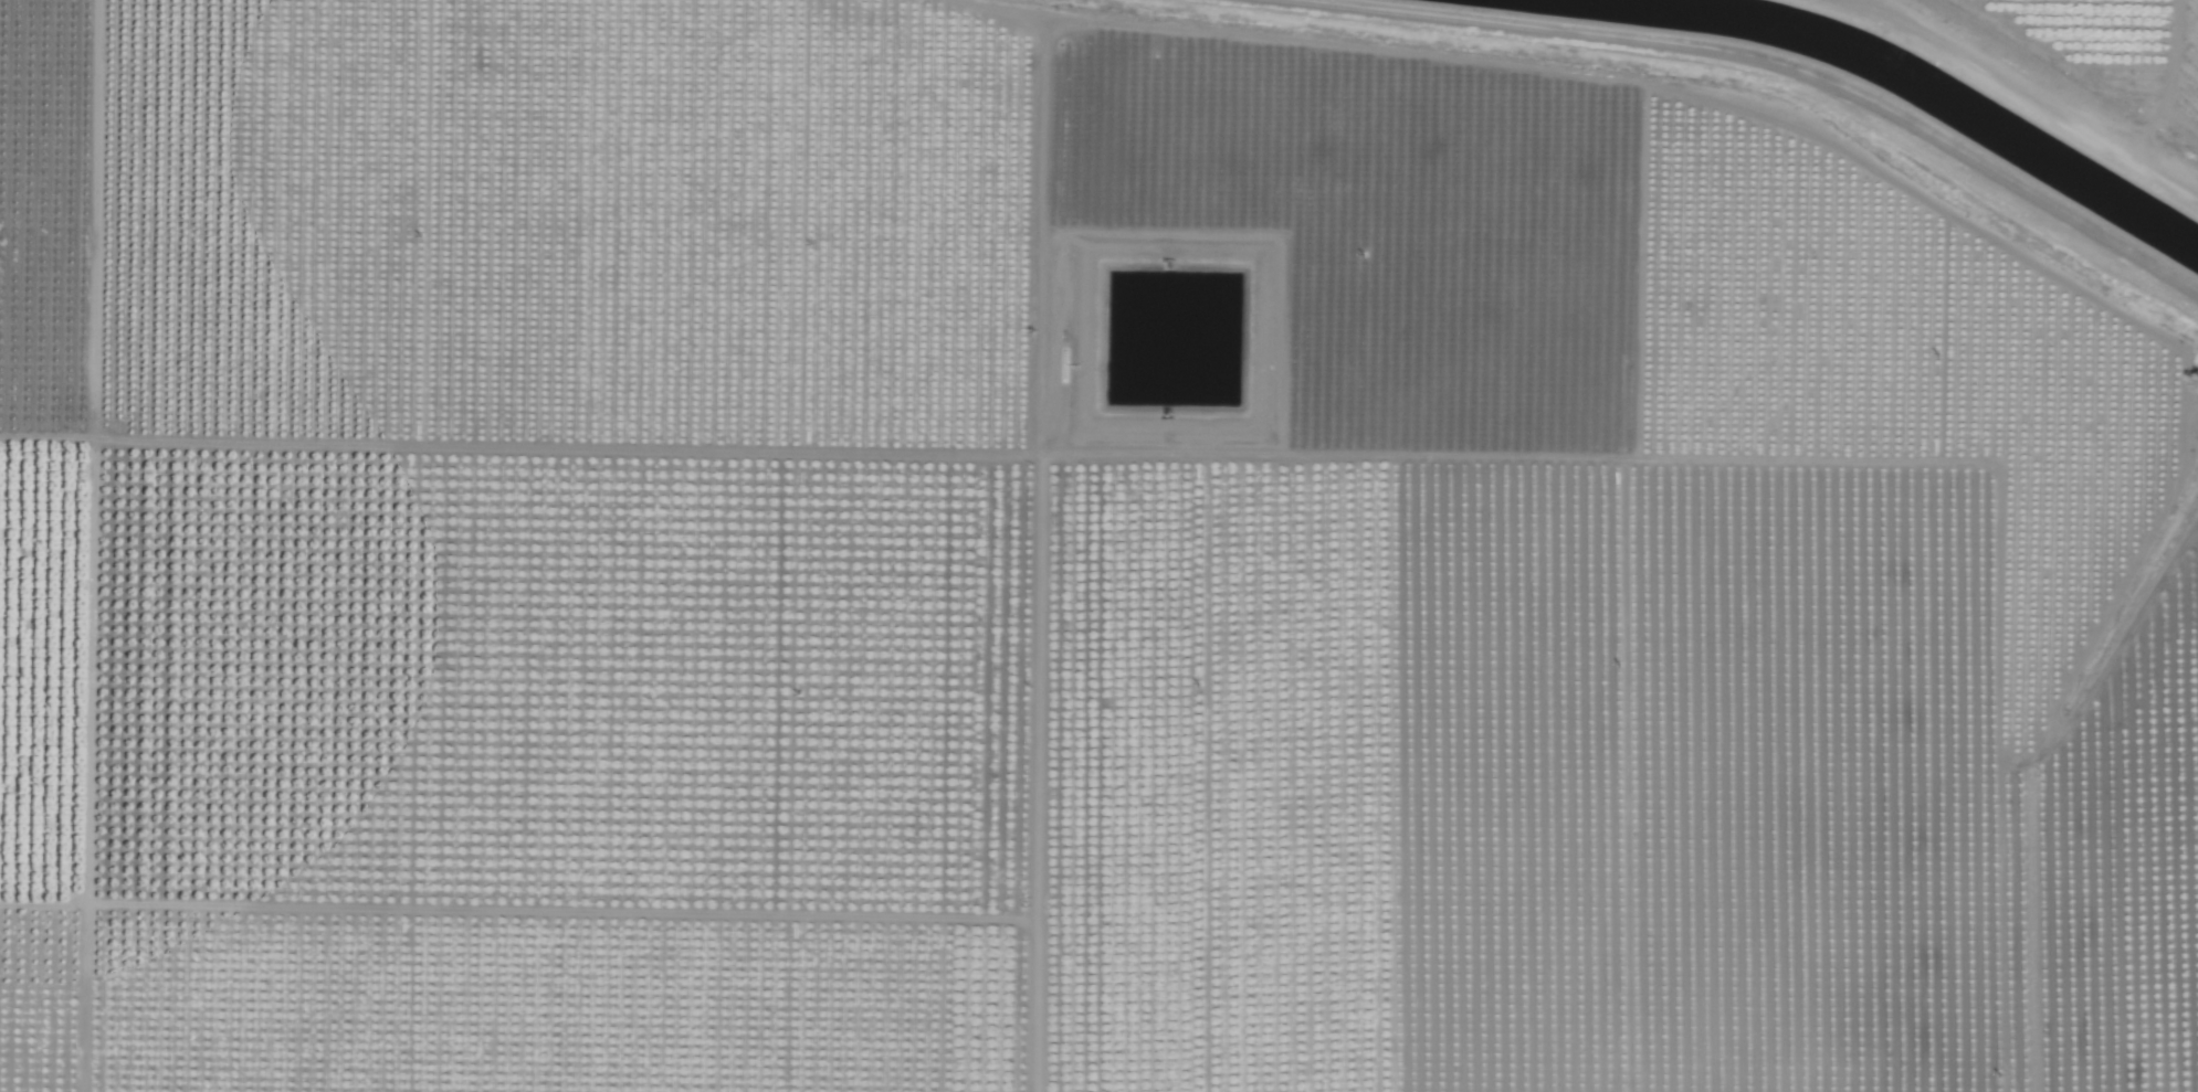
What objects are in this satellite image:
crop: (1068, 562)

